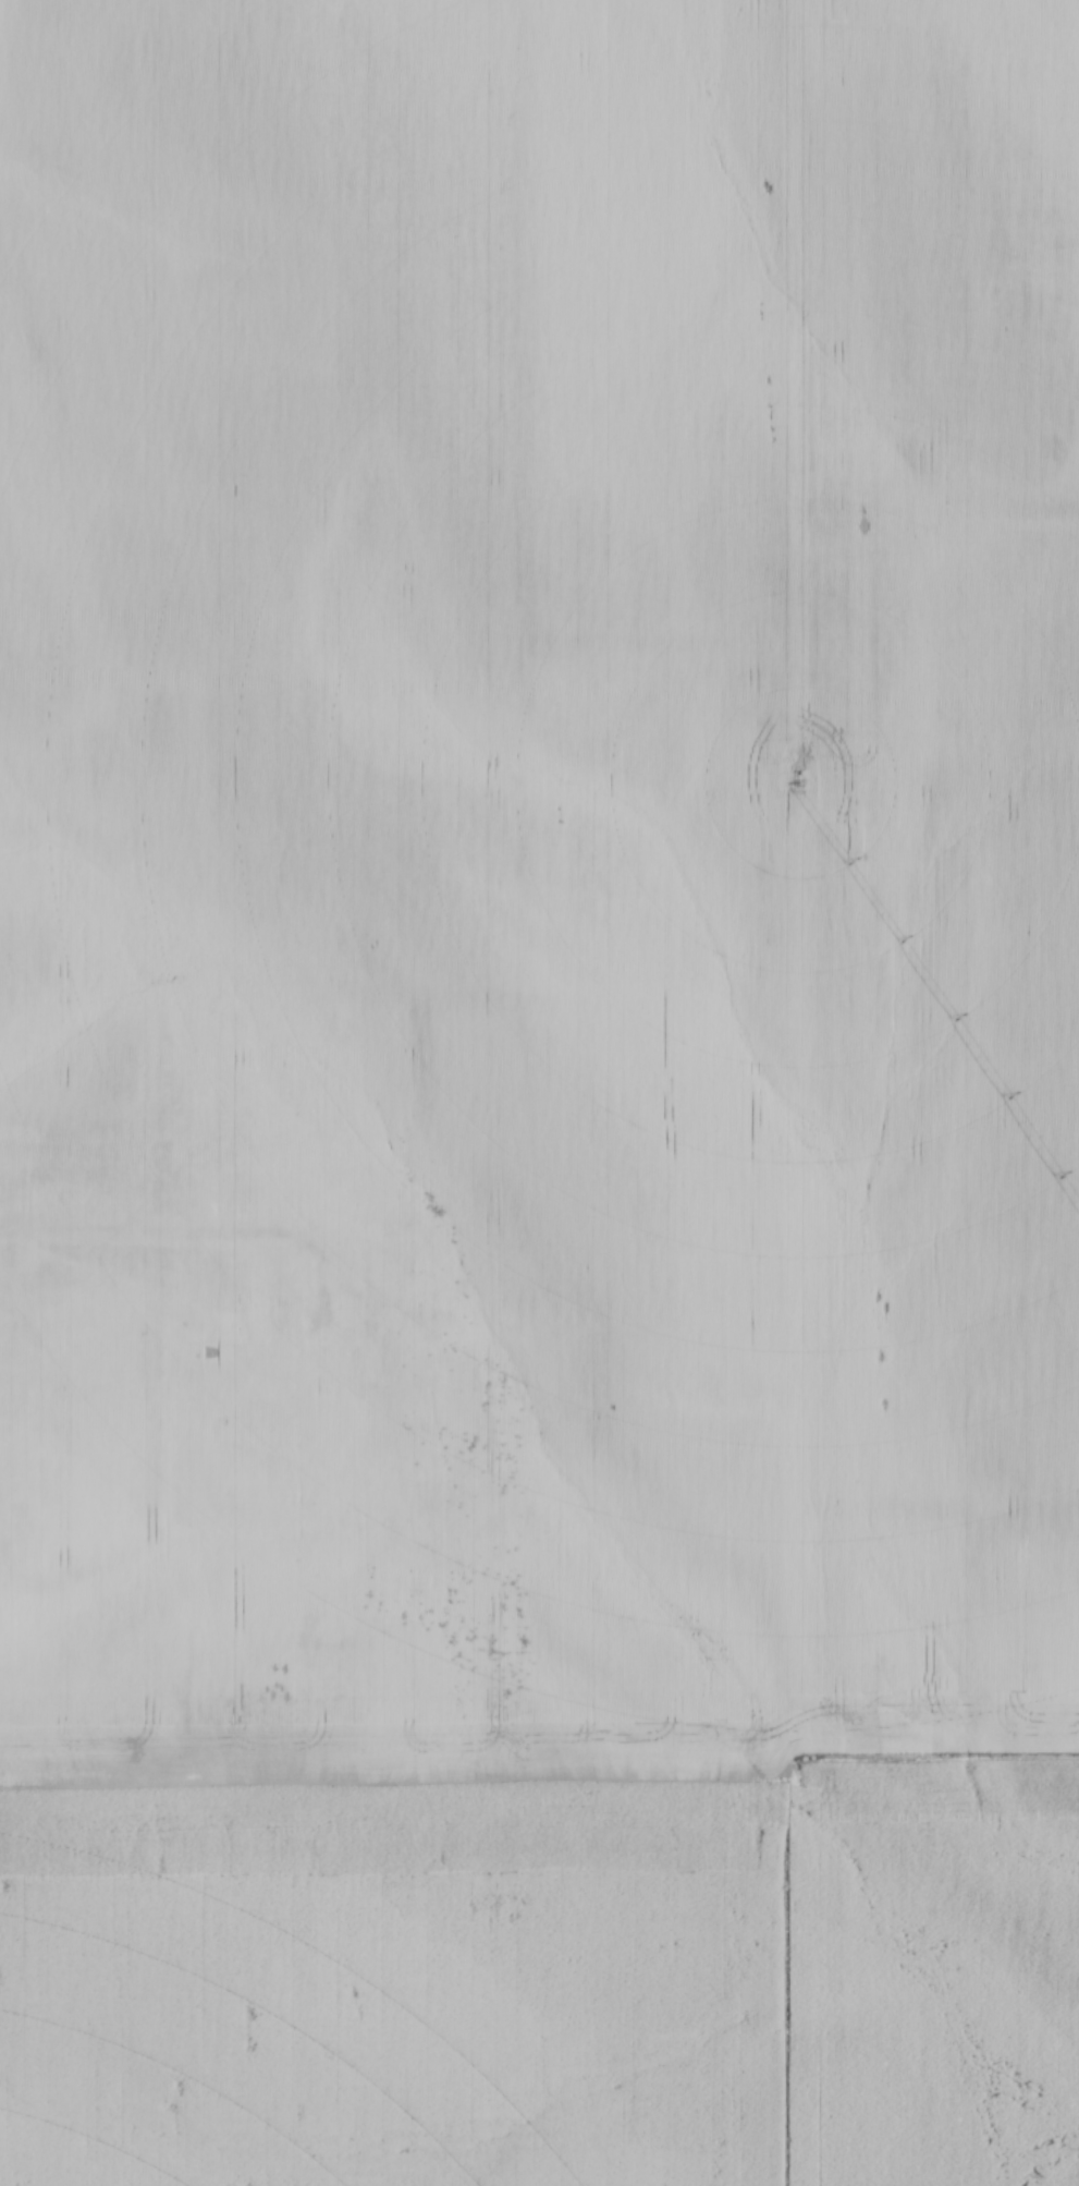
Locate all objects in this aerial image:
building: (382, 1264)
building: (268, 1314)
building: (312, 1351)
building: (432, 1379)
building: (428, 1429)
building: (318, 1496)
building: (451, 1516)

